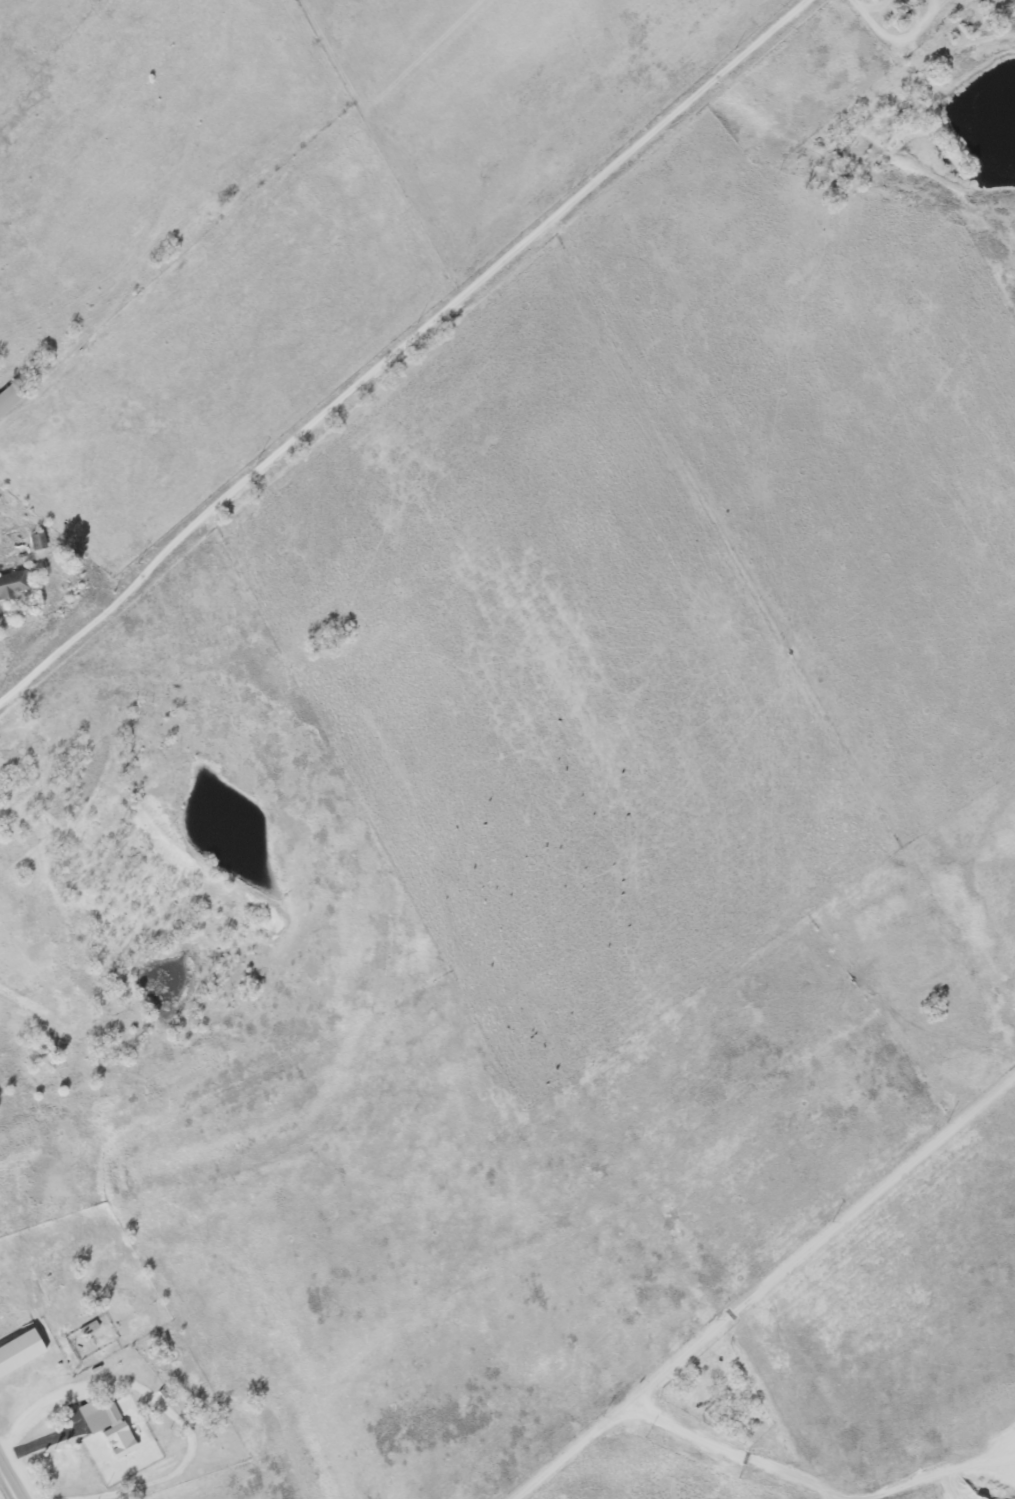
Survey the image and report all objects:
building: (880, 0)
road: (895, 38)
road: (400, 350)
building: (10, 398)
building: (13, 583)
road: (777, 1293)
building: (20, 1352)
road: (160, 1403)
road: (56, 1435)
road: (735, 1456)
road: (16, 1470)
road: (950, 1482)

